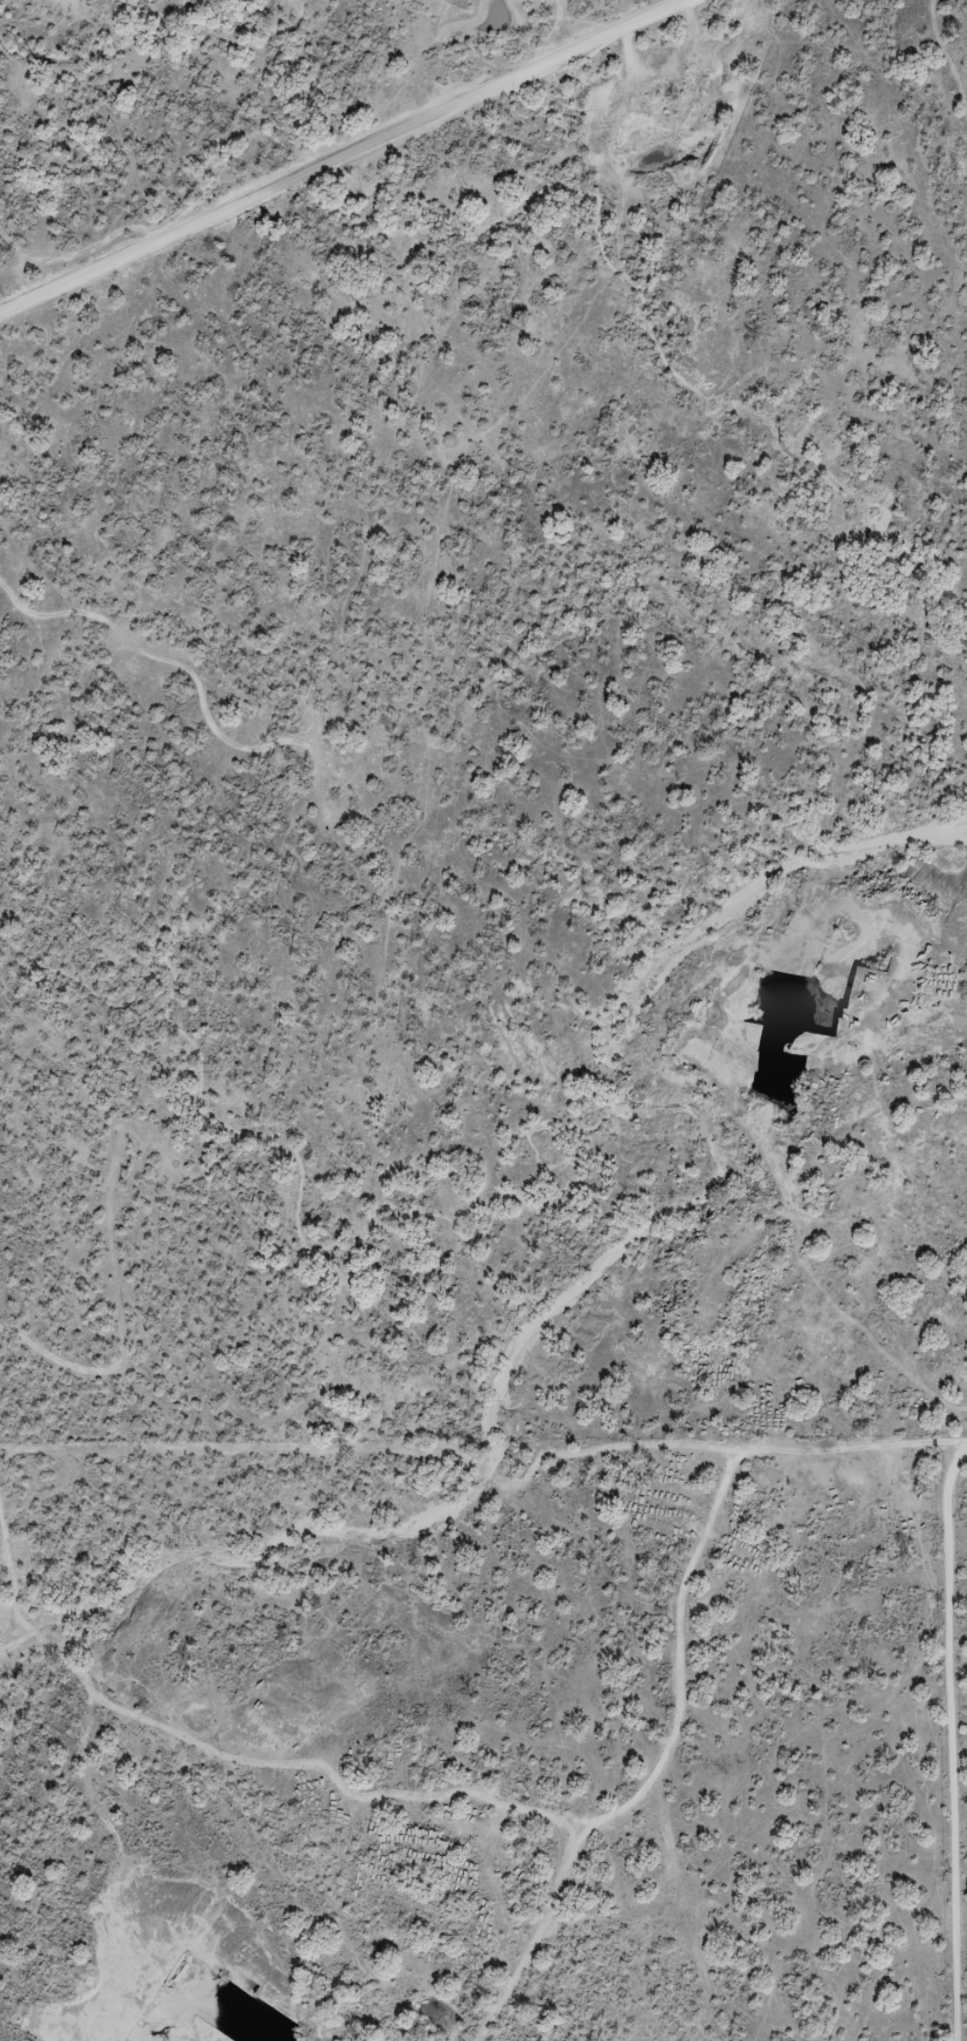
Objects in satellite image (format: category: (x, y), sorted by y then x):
road: (343, 156)
quarry: (809, 1234)
road: (953, 1742)
building: (667, 1833)
quarry: (344, 1900)

